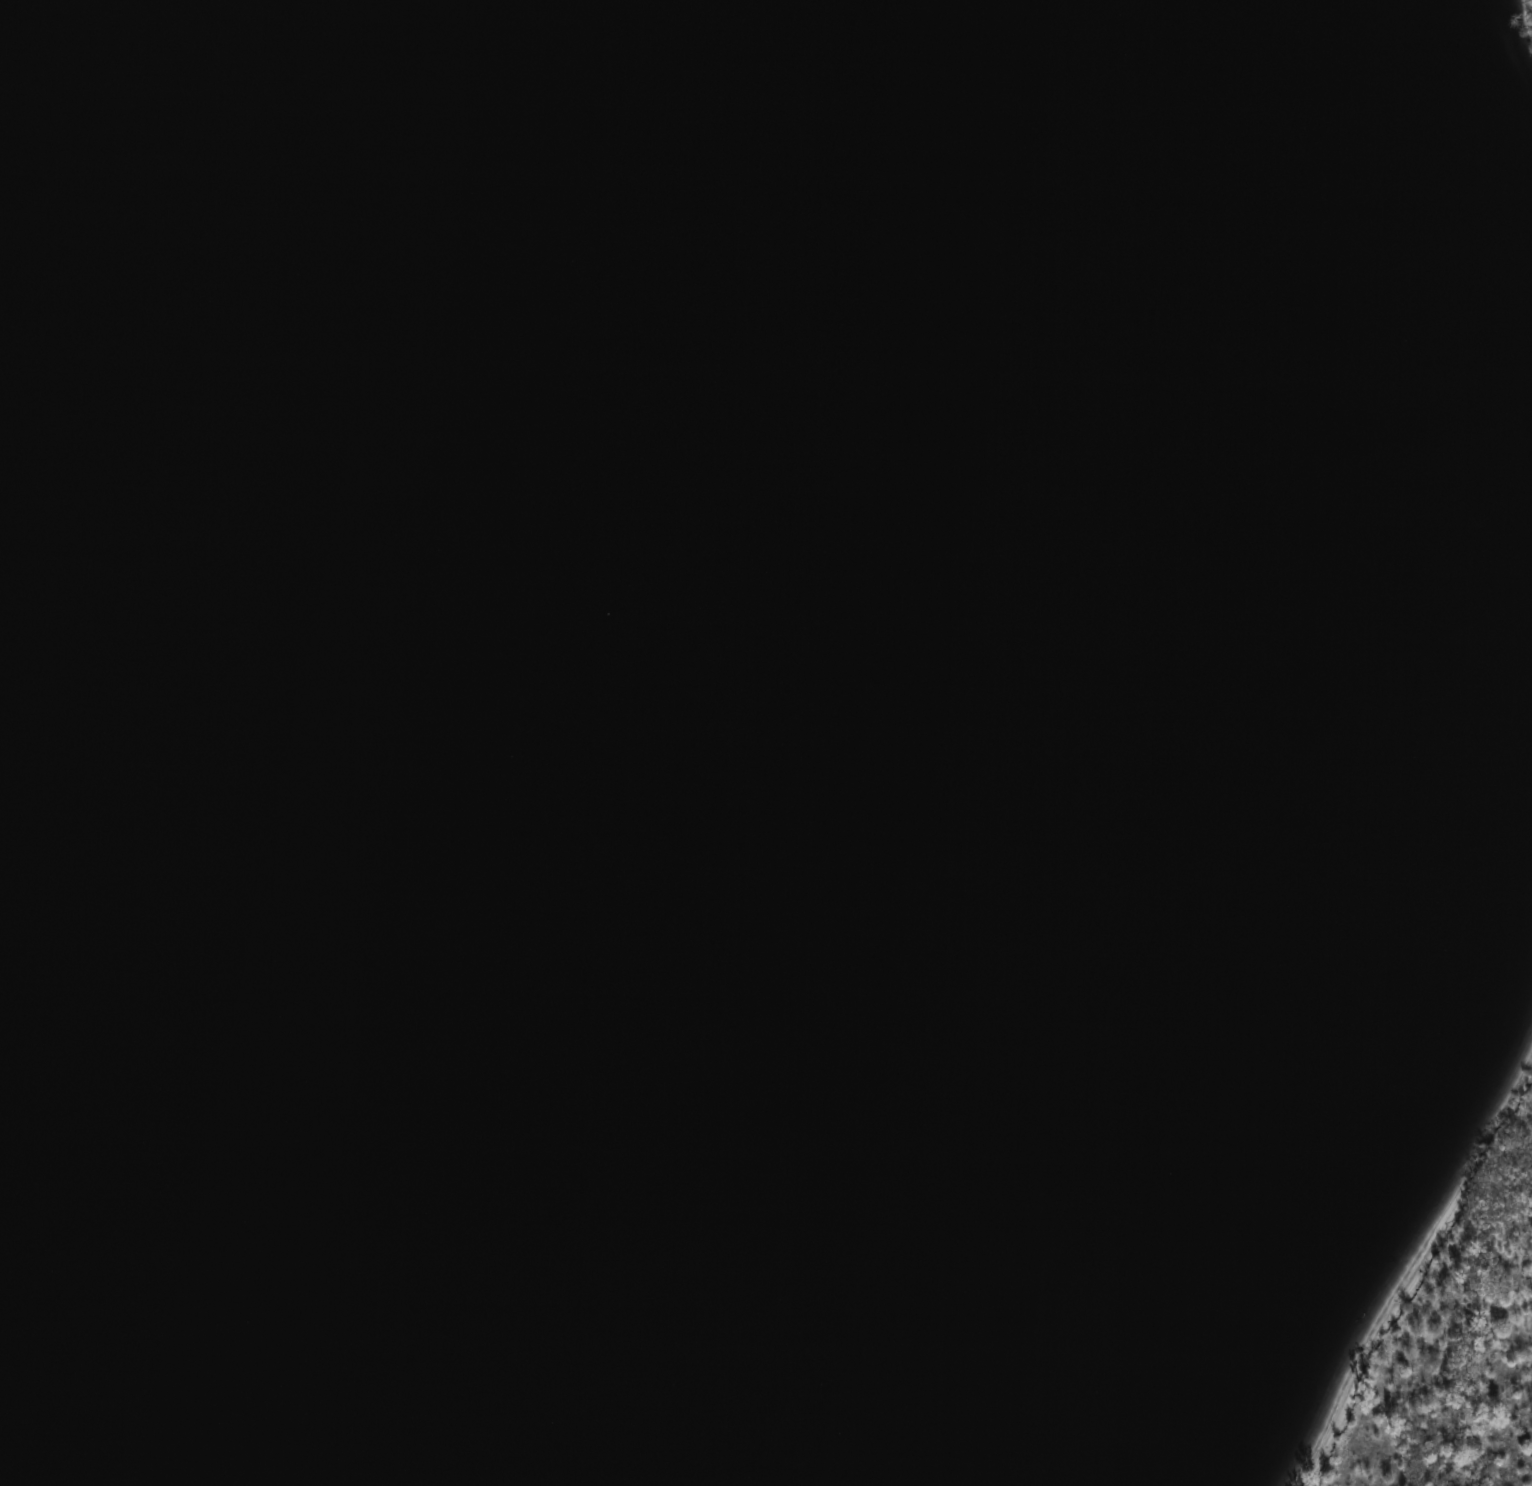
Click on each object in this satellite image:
park: (1523, 41)

